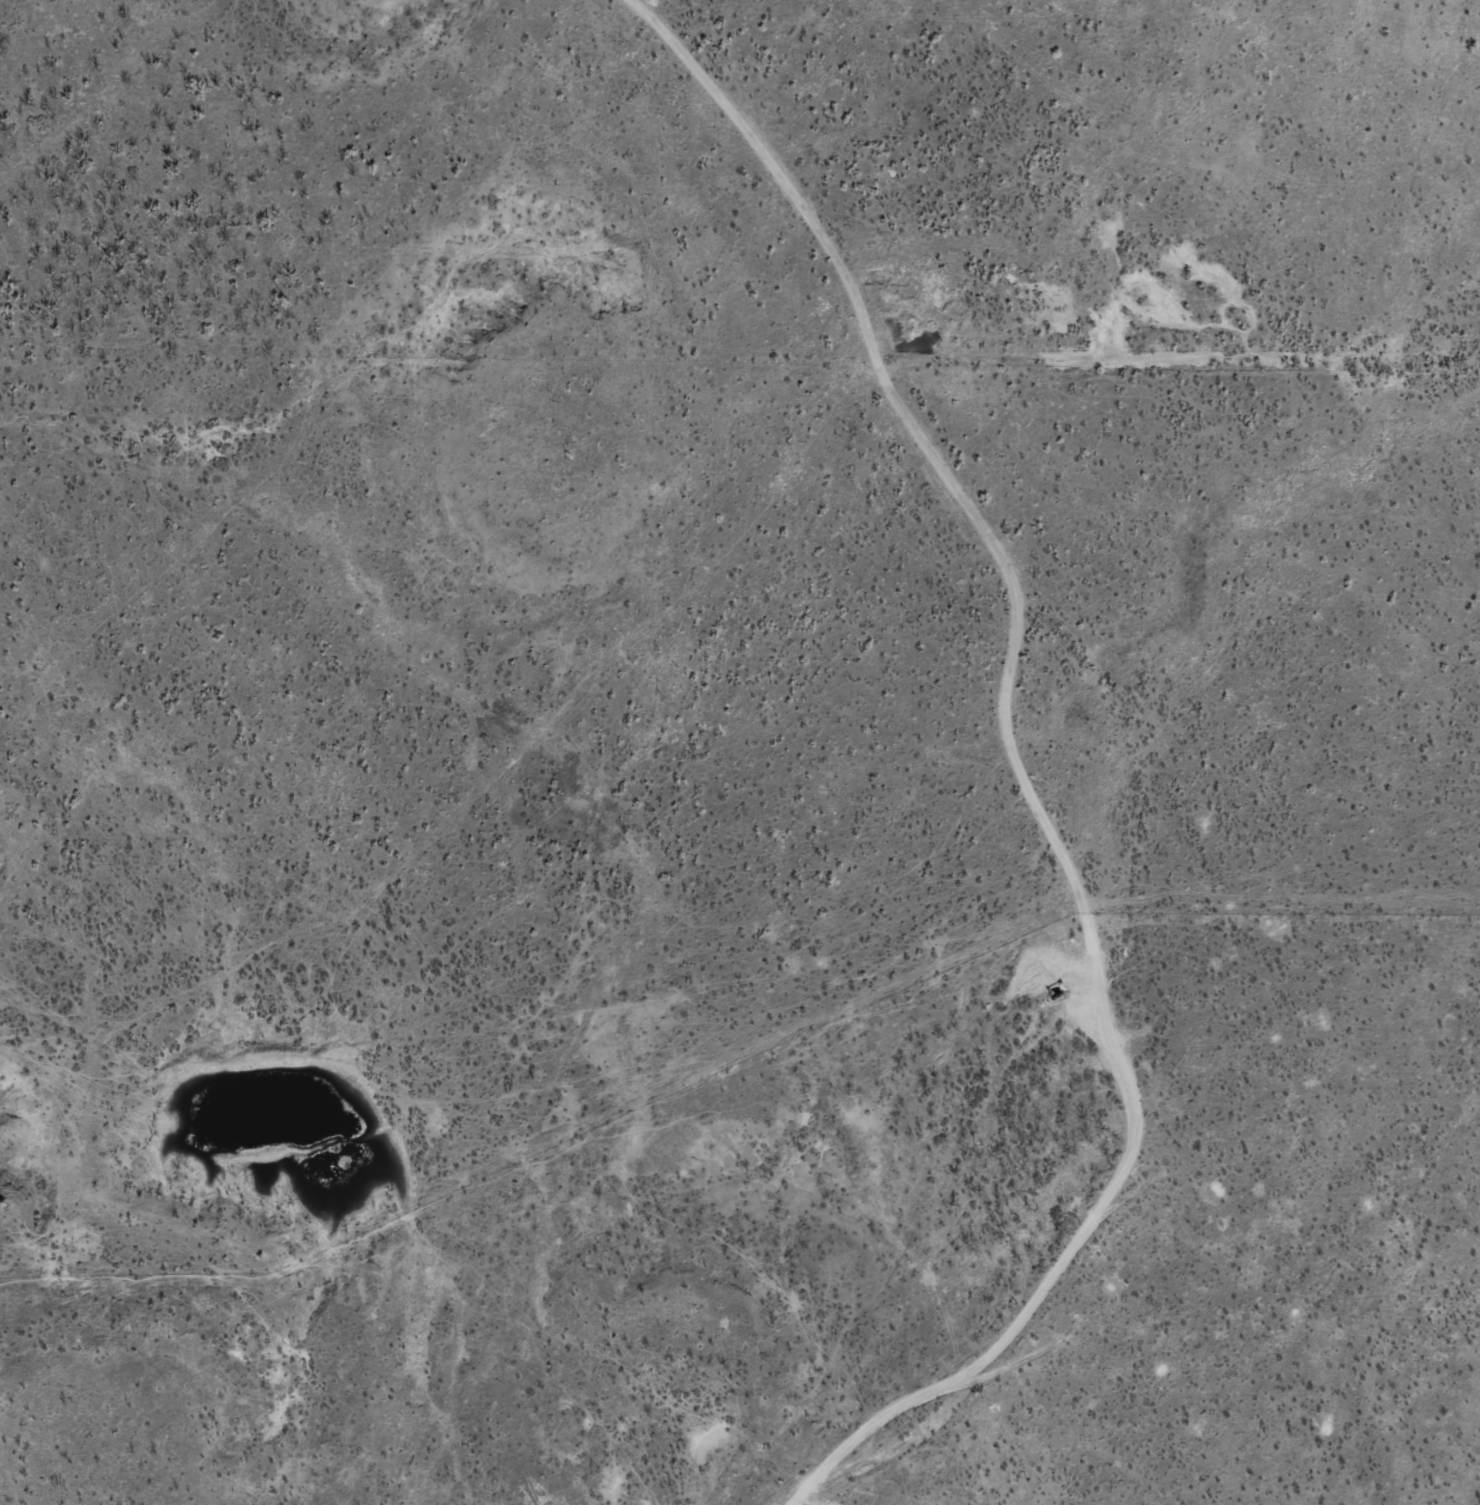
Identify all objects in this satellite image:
road: (1087, 736)

